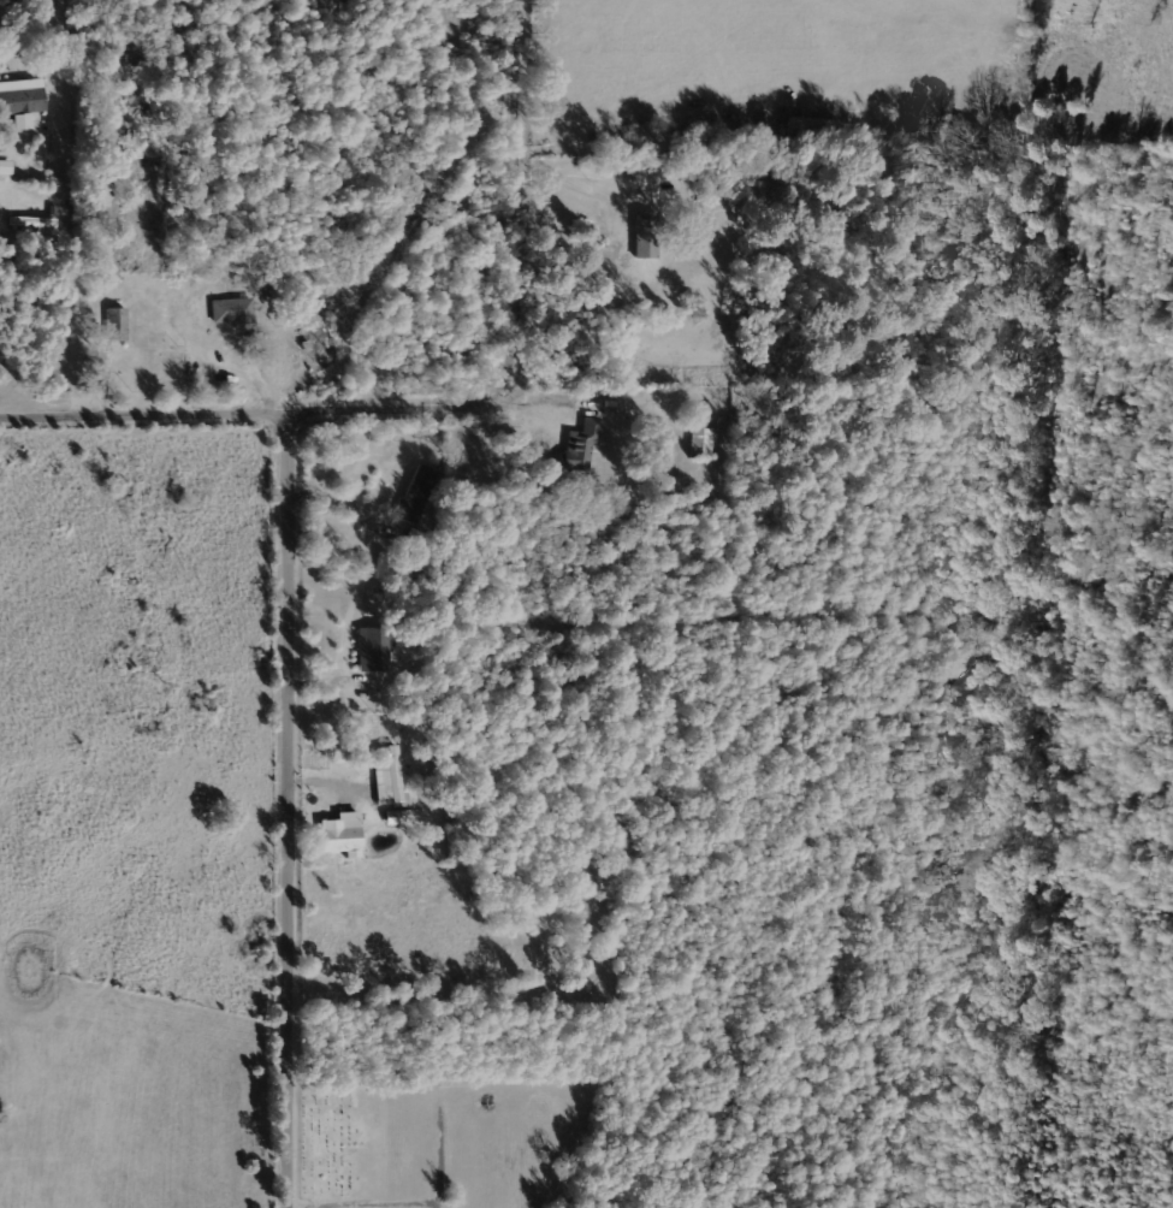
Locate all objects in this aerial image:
building: (20, 100)
building: (800, 129)
building: (5, 166)
building: (641, 235)
building: (230, 310)
building: (114, 324)
road: (154, 416)
building: (700, 443)
building: (579, 446)
building: (420, 495)
road: (296, 515)
building: (371, 649)
building: (387, 774)
building: (391, 816)
building: (336, 836)
building: (1, 1112)
park: (445, 1143)
road: (278, 1206)

